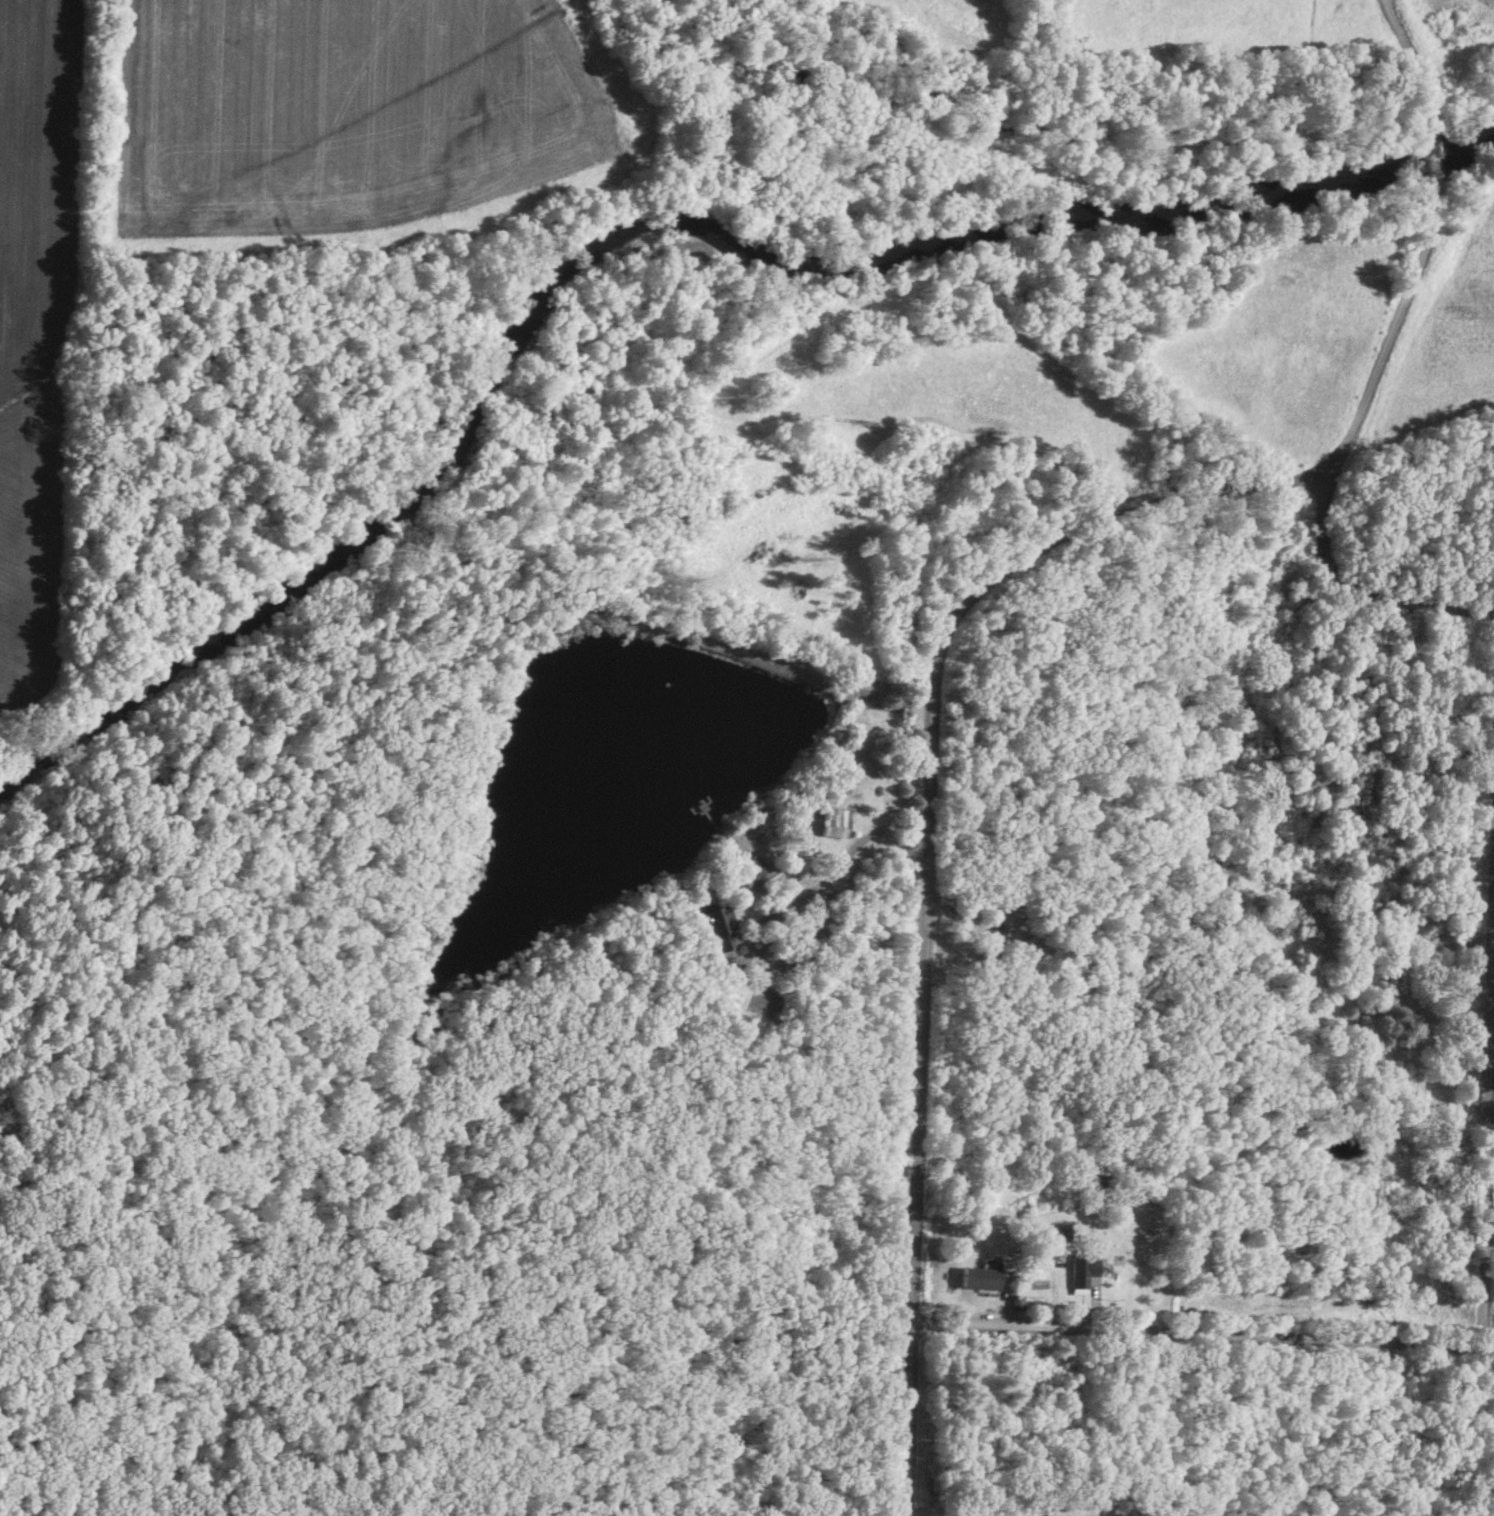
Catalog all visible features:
road: (1430, 244)
road: (1360, 594)
building: (834, 821)
road: (933, 857)
building: (754, 867)
building: (1002, 920)
building: (722, 925)
building: (1395, 982)
road: (751, 997)
road: (1489, 1132)
building: (1059, 1231)
building: (992, 1272)
building: (1084, 1272)
road: (1204, 1330)

